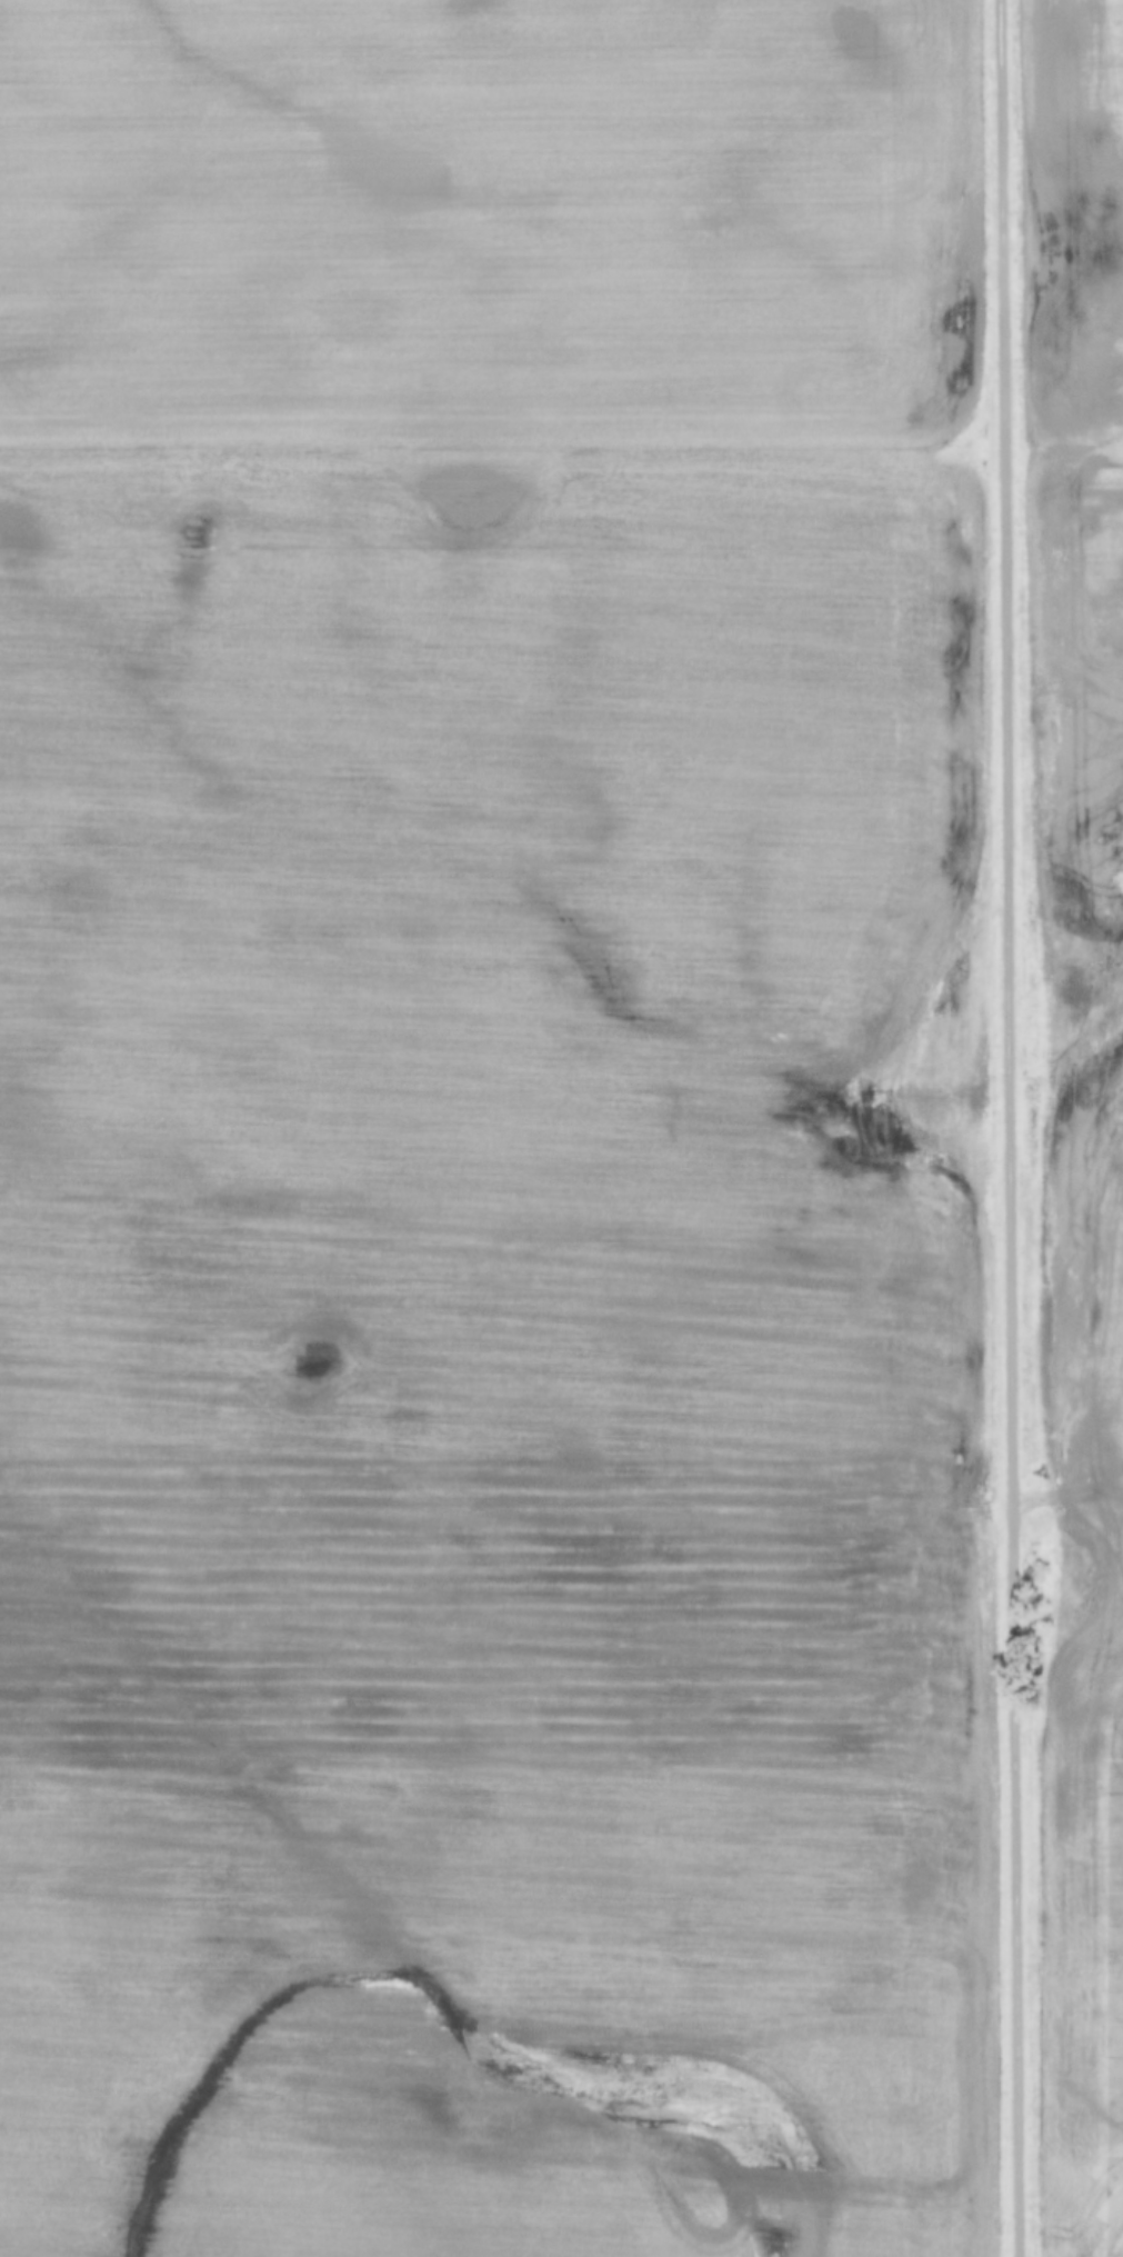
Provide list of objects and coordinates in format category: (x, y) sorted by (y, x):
road: (1012, 1128)

